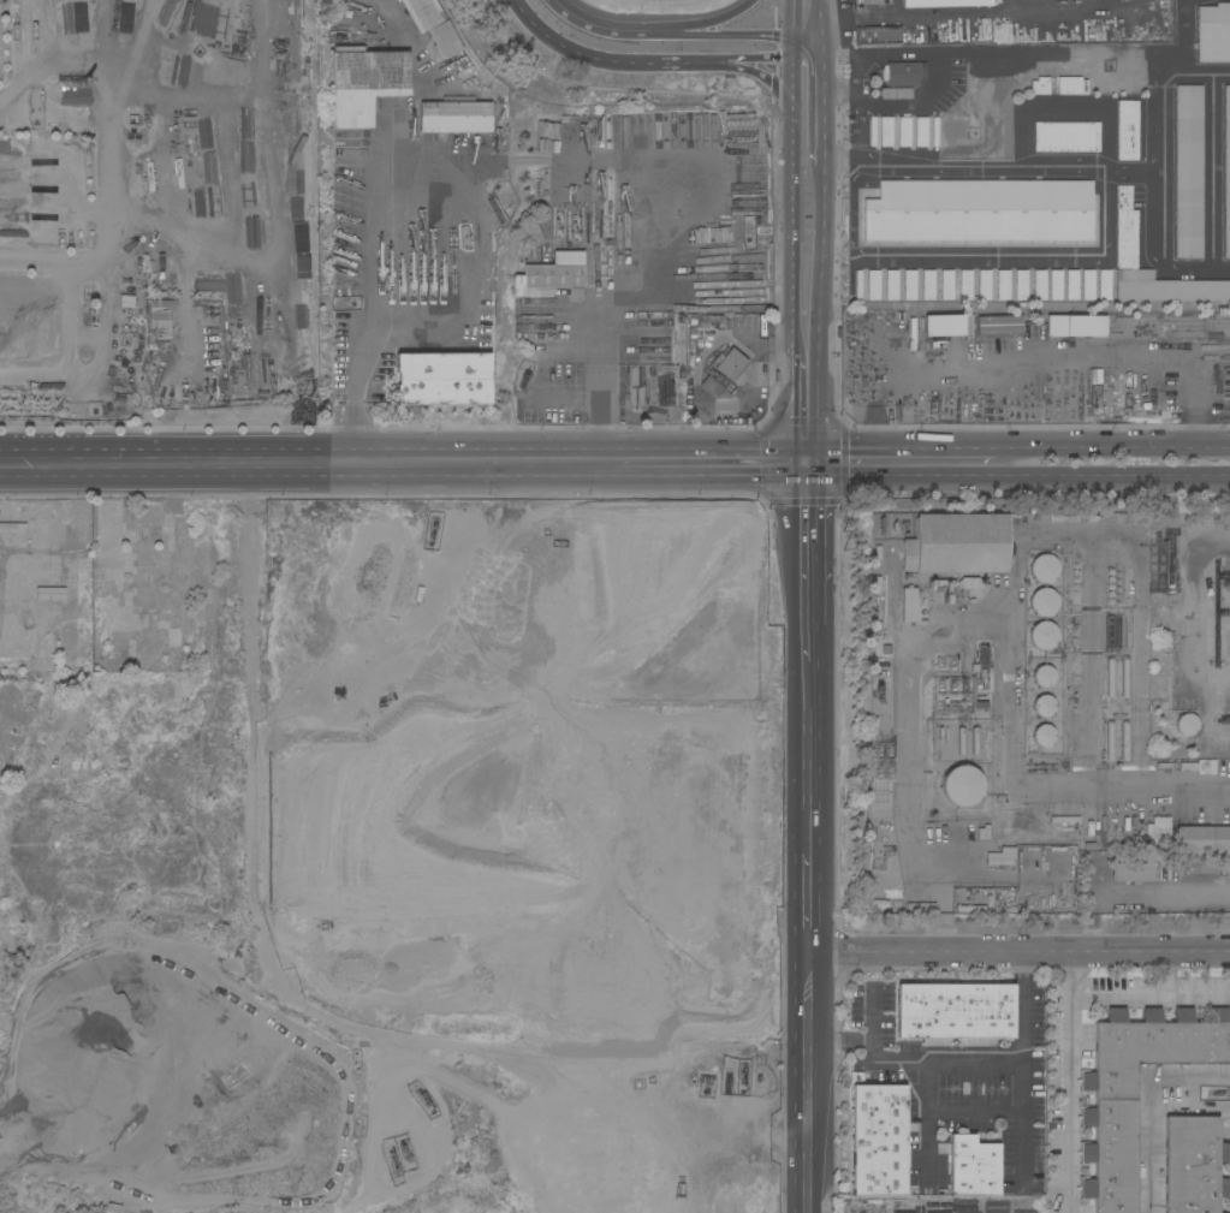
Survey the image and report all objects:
building: (944, 4)
road: (735, 11)
building: (422, 13)
road: (806, 18)
road: (700, 28)
road: (592, 30)
building: (1213, 34)
road: (664, 35)
road: (743, 35)
building: (878, 36)
building: (444, 40)
road: (806, 46)
road: (931, 55)
road: (613, 58)
road: (766, 58)
road: (744, 66)
building: (1062, 72)
building: (901, 75)
road: (852, 77)
building: (366, 83)
road: (830, 85)
building: (1040, 85)
building: (1072, 85)
road: (807, 87)
building: (896, 93)
road: (784, 95)
building: (454, 117)
building: (872, 131)
building: (886, 131)
building: (1124, 131)
building: (904, 132)
building: (921, 132)
building: (935, 132)
building: (1068, 137)
road: (807, 150)
road: (830, 162)
road: (1065, 168)
building: (1188, 172)
building: (1226, 172)
building: (892, 210)
building: (910, 210)
building: (929, 210)
building: (967, 210)
building: (986, 210)
building: (1021, 210)
building: (1087, 210)
building: (875, 212)
building: (949, 212)
building: (1004, 212)
building: (1038, 212)
building: (1054, 212)
building: (1070, 212)
building: (1124, 226)
building: (761, 234)
road: (141, 248)
road: (363, 251)
road: (806, 262)
building: (551, 277)
building: (858, 285)
building: (874, 285)
building: (891, 285)
building: (910, 285)
building: (929, 285)
building: (947, 285)
building: (967, 285)
building: (985, 285)
building: (1004, 285)
building: (1022, 285)
building: (1040, 285)
building: (1057, 285)
building: (1072, 285)
building: (1089, 285)
building: (1105, 285)
building: (1166, 287)
building: (159, 314)
building: (712, 321)
building: (944, 325)
building: (999, 325)
building: (1076, 326)
road: (806, 351)
building: (690, 352)
road: (1154, 357)
building: (729, 363)
building: (442, 379)
building: (1223, 385)
building: (713, 387)
road: (749, 390)
building: (1224, 392)
building: (671, 394)
building: (632, 404)
road: (806, 406)
road: (601, 412)
road: (158, 451)
road: (560, 451)
traffic signals: (806, 451)
road: (899, 451)
road: (1111, 451)
road: (806, 465)
road: (307, 481)
road: (709, 481)
traffic signals: (806, 481)
road: (1017, 482)
building: (1062, 518)
petroleum well: (433, 525)
road: (1081, 533)
building: (956, 543)
road: (807, 552)
building: (1042, 569)
storage tank: (1042, 569)
petroleum well: (1226, 575)
petroleum well: (1228, 582)
building: (957, 583)
building: (1044, 602)
storage tank: (1044, 602)
building: (909, 605)
petroleum well: (1226, 613)
building: (1111, 632)
building: (1124, 632)
building: (1042, 635)
storage tank: (1042, 635)
road: (808, 652)
road: (1088, 662)
building: (1042, 677)
storage tank: (1042, 677)
building: (1111, 678)
building: (1125, 678)
petroleum well: (879, 690)
building: (1042, 707)
storage tank: (1042, 707)
petroleum well: (1229, 720)
building: (1188, 725)
storage tank: (1188, 725)
building: (1044, 735)
storage tank: (1044, 735)
building: (974, 741)
building: (1124, 741)
building: (962, 742)
building: (1110, 742)
road: (809, 760)
building: (962, 786)
storage tank: (962, 786)
road: (1124, 792)
road: (259, 804)
building: (1148, 832)
building: (1169, 832)
building: (1204, 840)
building: (1135, 873)
road: (810, 896)
road: (1020, 951)
road: (1165, 976)
road: (1146, 1001)
building: (955, 1011)
road: (842, 1042)
road: (915, 1063)
road: (1022, 1068)
road: (809, 1082)
road: (1063, 1082)
petroleum well: (731, 1096)
petroleum well: (424, 1100)
road: (1151, 1111)
building: (1109, 1117)
road: (928, 1118)
building: (879, 1141)
petroleum well: (404, 1150)
petroleum well: (393, 1160)
building: (1194, 1165)
building: (974, 1167)

